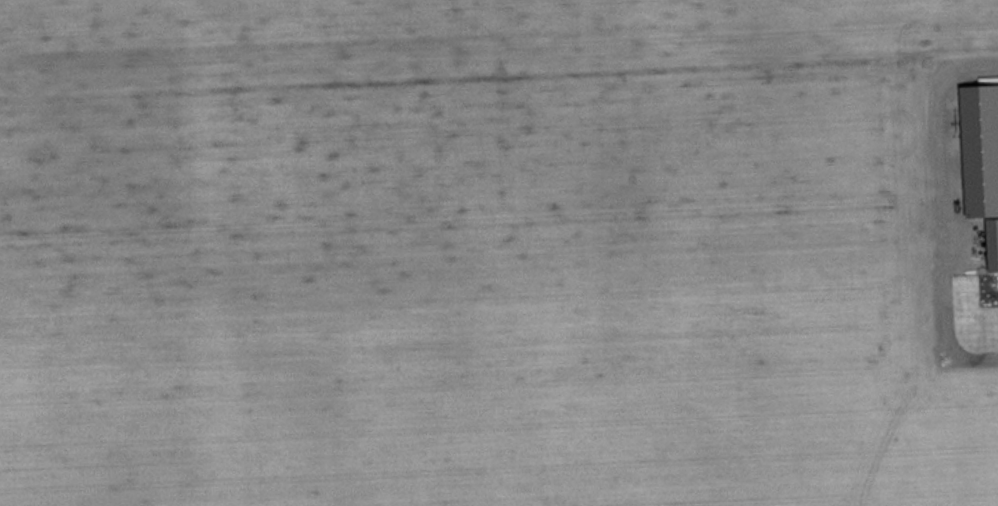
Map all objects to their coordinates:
building: (984, 156)

